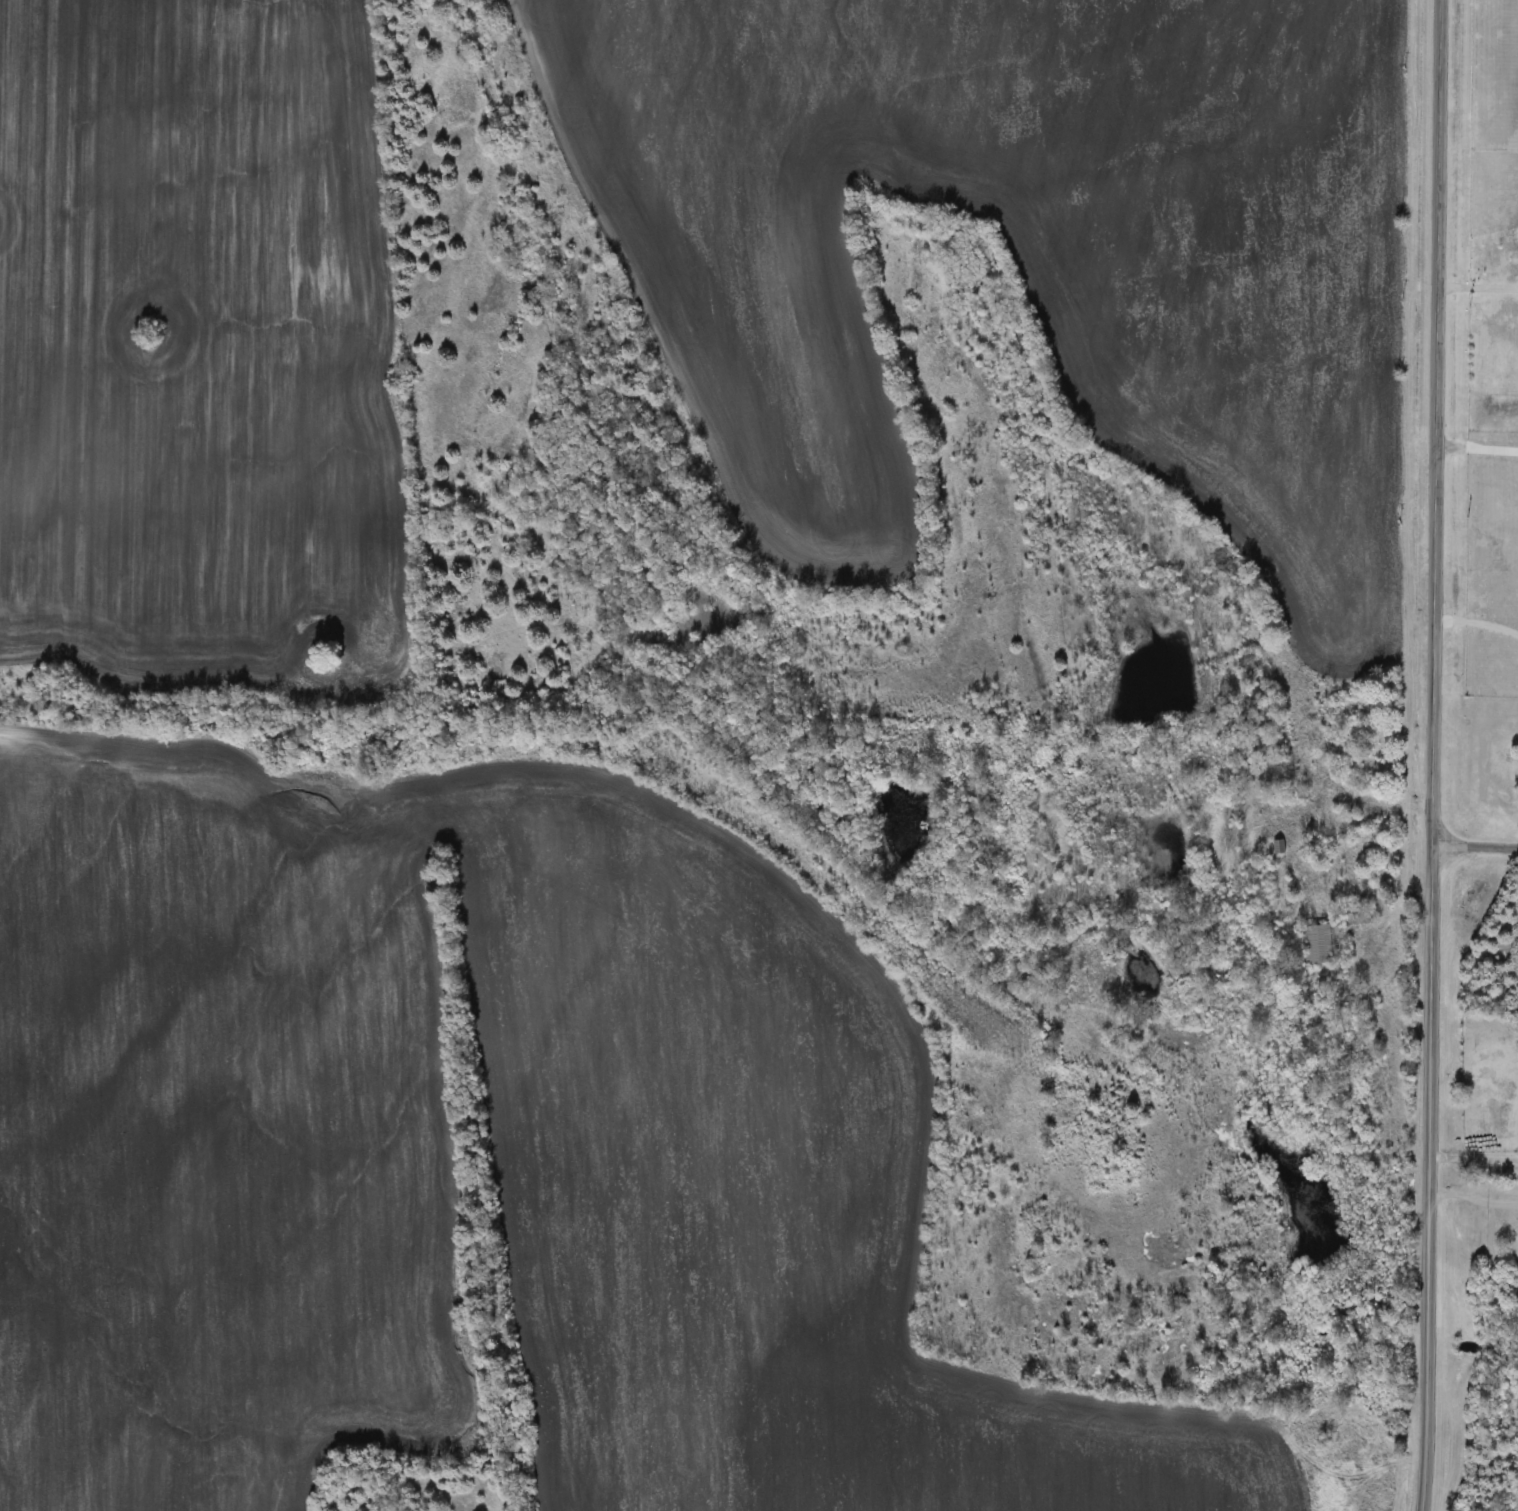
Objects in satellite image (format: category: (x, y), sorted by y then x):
road: (1478, 288)
road: (1477, 446)
road: (1477, 621)
road: (1432, 755)
road: (1474, 847)
building: (1280, 848)
building: (1319, 945)
road: (1473, 1156)
road: (1472, 1197)

